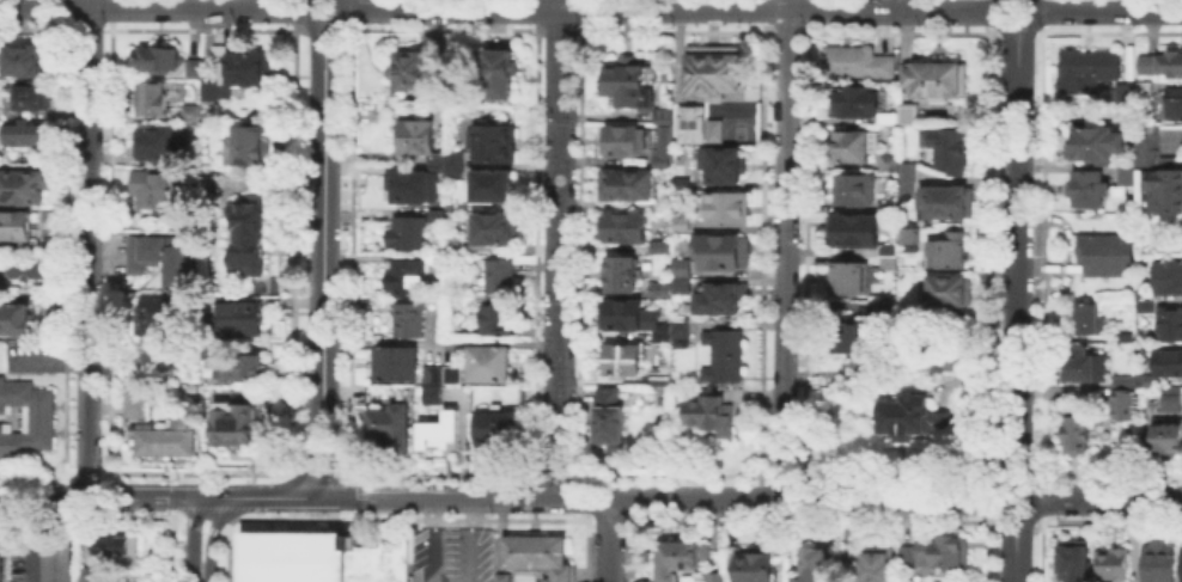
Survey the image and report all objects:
road: (153, 4)
road: (669, 8)
road: (1110, 10)
road: (997, 22)
road: (1035, 22)
road: (324, 25)
building: (156, 57)
building: (24, 59)
building: (854, 60)
building: (1160, 62)
building: (239, 63)
building: (414, 63)
building: (193, 66)
building: (712, 69)
building: (1084, 69)
building: (496, 72)
building: (934, 76)
building: (629, 80)
building: (209, 86)
building: (1143, 86)
building: (1123, 90)
building: (31, 96)
building: (157, 96)
building: (851, 98)
building: (1172, 102)
building: (189, 111)
building: (952, 111)
building: (907, 112)
building: (662, 114)
building: (886, 116)
building: (681, 122)
building: (24, 131)
building: (418, 136)
building: (621, 139)
building: (157, 142)
building: (491, 142)
building: (1092, 142)
building: (853, 143)
building: (251, 145)
building: (660, 146)
building: (948, 146)
building: (886, 160)
building: (452, 163)
building: (720, 163)
building: (1126, 165)
building: (907, 170)
building: (1157, 172)
building: (412, 182)
building: (680, 182)
building: (491, 183)
building: (624, 183)
building: (23, 184)
building: (906, 184)
building: (1087, 186)
building: (853, 188)
building: (156, 189)
building: (944, 200)
building: (885, 204)
building: (724, 207)
building: (435, 214)
building: (678, 221)
building: (14, 225)
building: (621, 225)
building: (493, 226)
building: (852, 228)
building: (406, 231)
building: (909, 235)
building: (246, 237)
building: (50, 243)
building: (451, 243)
building: (658, 245)
road: (87, 247)
building: (886, 247)
road: (556, 249)
road: (785, 249)
building: (720, 250)
building: (946, 250)
road: (1070, 252)
building: (1105, 252)
road: (1019, 256)
building: (162, 257)
road: (319, 261)
building: (886, 261)
building: (678, 265)
building: (20, 268)
building: (620, 271)
building: (409, 274)
building: (498, 274)
building: (1165, 275)
building: (847, 276)
building: (680, 282)
building: (658, 287)
building: (948, 288)
building: (718, 296)
building: (365, 300)
building: (1143, 304)
building: (885, 306)
building: (244, 313)
building: (158, 314)
building: (630, 315)
building: (495, 317)
building: (1086, 317)
building: (16, 318)
building: (410, 318)
building: (1168, 323)
building: (678, 331)
building: (852, 333)
building: (1125, 336)
building: (723, 354)
parking lot: (33, 355)
building: (938, 355)
building: (619, 357)
building: (1166, 360)
road: (49, 361)
building: (489, 361)
building: (396, 362)
building: (1082, 362)
building: (245, 368)
building: (432, 372)
building: (452, 373)
building: (660, 375)
building: (1121, 379)
building: (1143, 380)
building: (377, 391)
building: (432, 392)
building: (512, 392)
building: (1170, 397)
building: (135, 399)
building: (1121, 402)
building: (714, 408)
building: (908, 412)
building: (25, 417)
building: (608, 417)
building: (232, 418)
building: (391, 423)
building: (498, 428)
building: (440, 430)
building: (1077, 431)
building: (1166, 435)
building: (164, 437)
road: (44, 496)
road: (144, 496)
road: (257, 497)
road: (656, 498)
road: (1109, 500)
road: (997, 501)
road: (1036, 501)
road: (200, 521)
parking lot: (2, 539)
road: (31, 539)
road: (428, 540)
road: (470, 540)
road: (608, 540)
building: (110, 544)
building: (934, 550)
road: (1017, 551)
parking lot: (23, 552)
parking lot: (450, 552)
building: (537, 553)
building: (678, 556)
building: (321, 557)
building: (57, 559)
building: (1072, 559)
building: (1157, 560)
building: (1181, 560)
building: (1111, 562)
road: (200, 564)
building: (810, 564)
building: (875, 564)
building: (754, 566)
building: (1, 568)
building: (86, 574)
building: (501, 576)
building: (712, 576)

